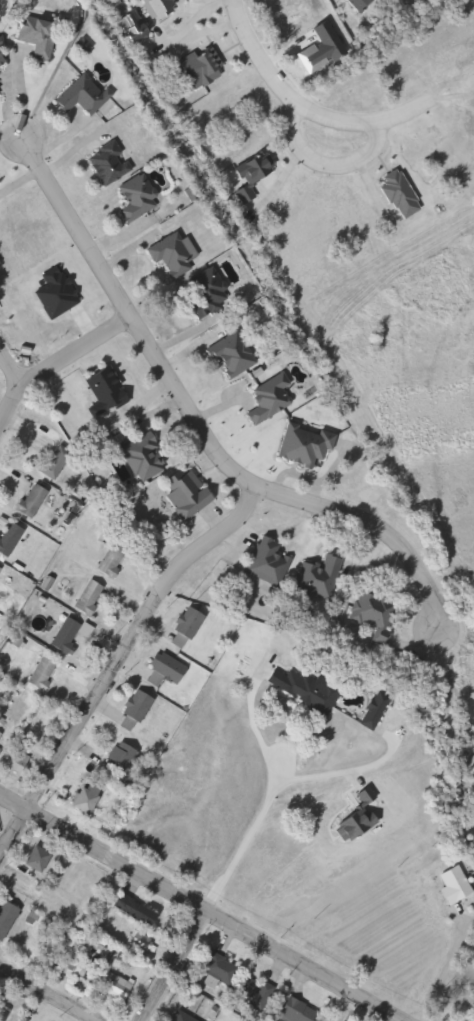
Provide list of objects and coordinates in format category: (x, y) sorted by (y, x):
building: (354, 4)
building: (41, 36)
building: (4, 60)
road: (279, 82)
building: (84, 96)
building: (0, 99)
building: (105, 163)
building: (133, 199)
building: (169, 253)
building: (204, 295)
road: (69, 350)
building: (100, 390)
road: (11, 395)
building: (267, 398)
road: (198, 427)
building: (300, 445)
building: (140, 457)
building: (52, 462)
building: (181, 492)
building: (26, 501)
building: (6, 537)
building: (107, 559)
building: (316, 577)
building: (84, 597)
building: (370, 611)
building: (184, 623)
building: (60, 635)
road: (114, 658)
building: (162, 667)
building: (37, 673)
building: (306, 688)
building: (131, 709)
building: (371, 711)
building: (0, 738)
building: (116, 759)
building: (12, 761)
building: (81, 797)
road: (244, 839)
building: (41, 859)
building: (450, 886)
road: (198, 911)
building: (141, 912)
building: (9, 919)
building: (141, 942)
road: (435, 966)
road: (172, 967)
building: (223, 969)
building: (122, 989)
road: (44, 996)
building: (251, 999)
building: (297, 1011)
building: (190, 1017)
road: (390, 1018)
building: (171, 1020)

